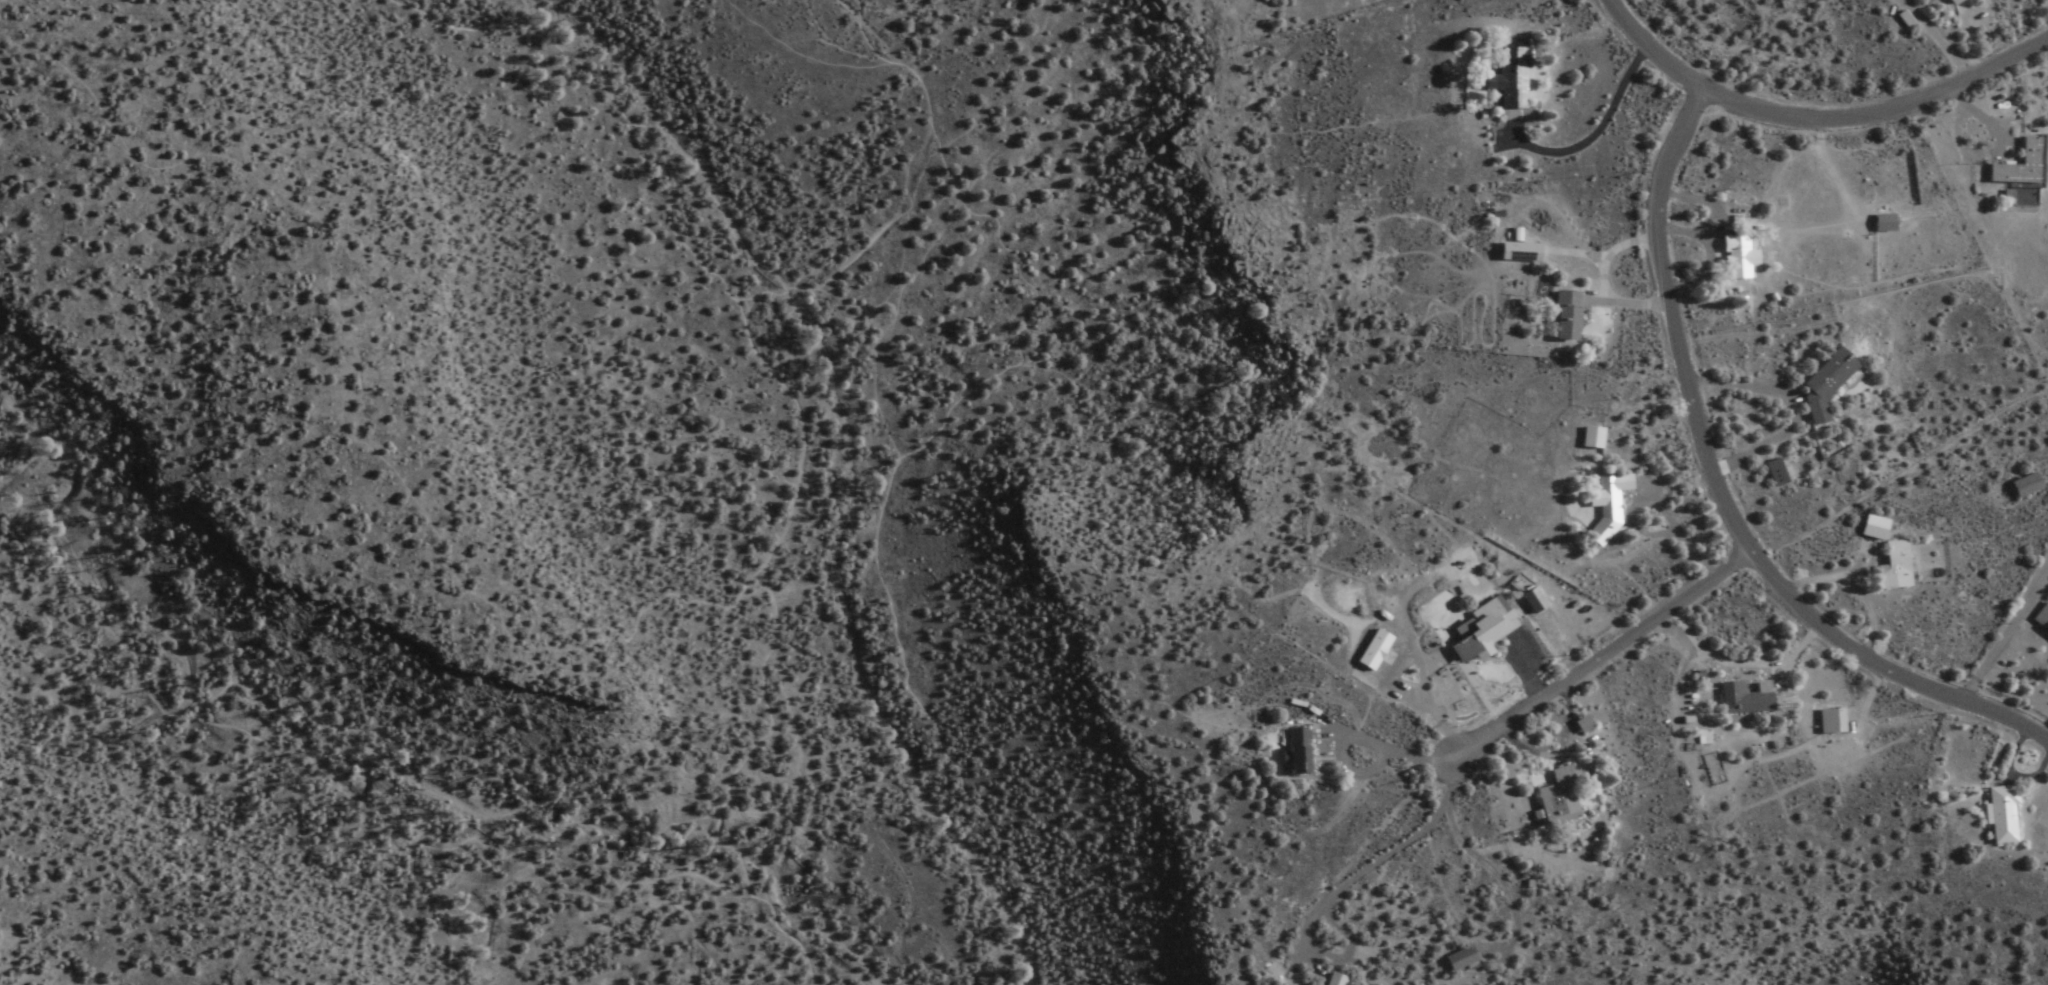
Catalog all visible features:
building: (1947, 2)
road: (1643, 46)
building: (1507, 79)
road: (1876, 110)
building: (2014, 167)
building: (1881, 224)
road: (851, 250)
building: (1518, 252)
building: (1734, 258)
building: (1563, 317)
road: (890, 325)
building: (1822, 384)
road: (357, 388)
road: (784, 414)
building: (1589, 439)
road: (910, 455)
road: (1904, 469)
building: (1771, 474)
building: (2020, 487)
road: (1726, 490)
building: (1891, 567)
building: (2040, 619)
building: (1477, 631)
road: (2004, 638)
road: (1606, 654)
road: (1742, 668)
building: (1742, 698)
road: (1376, 748)
building: (1295, 752)
building: (1555, 800)
building: (2000, 815)
road: (403, 823)
road: (1400, 850)
road: (718, 888)
building: (1457, 960)
building: (1332, 980)

